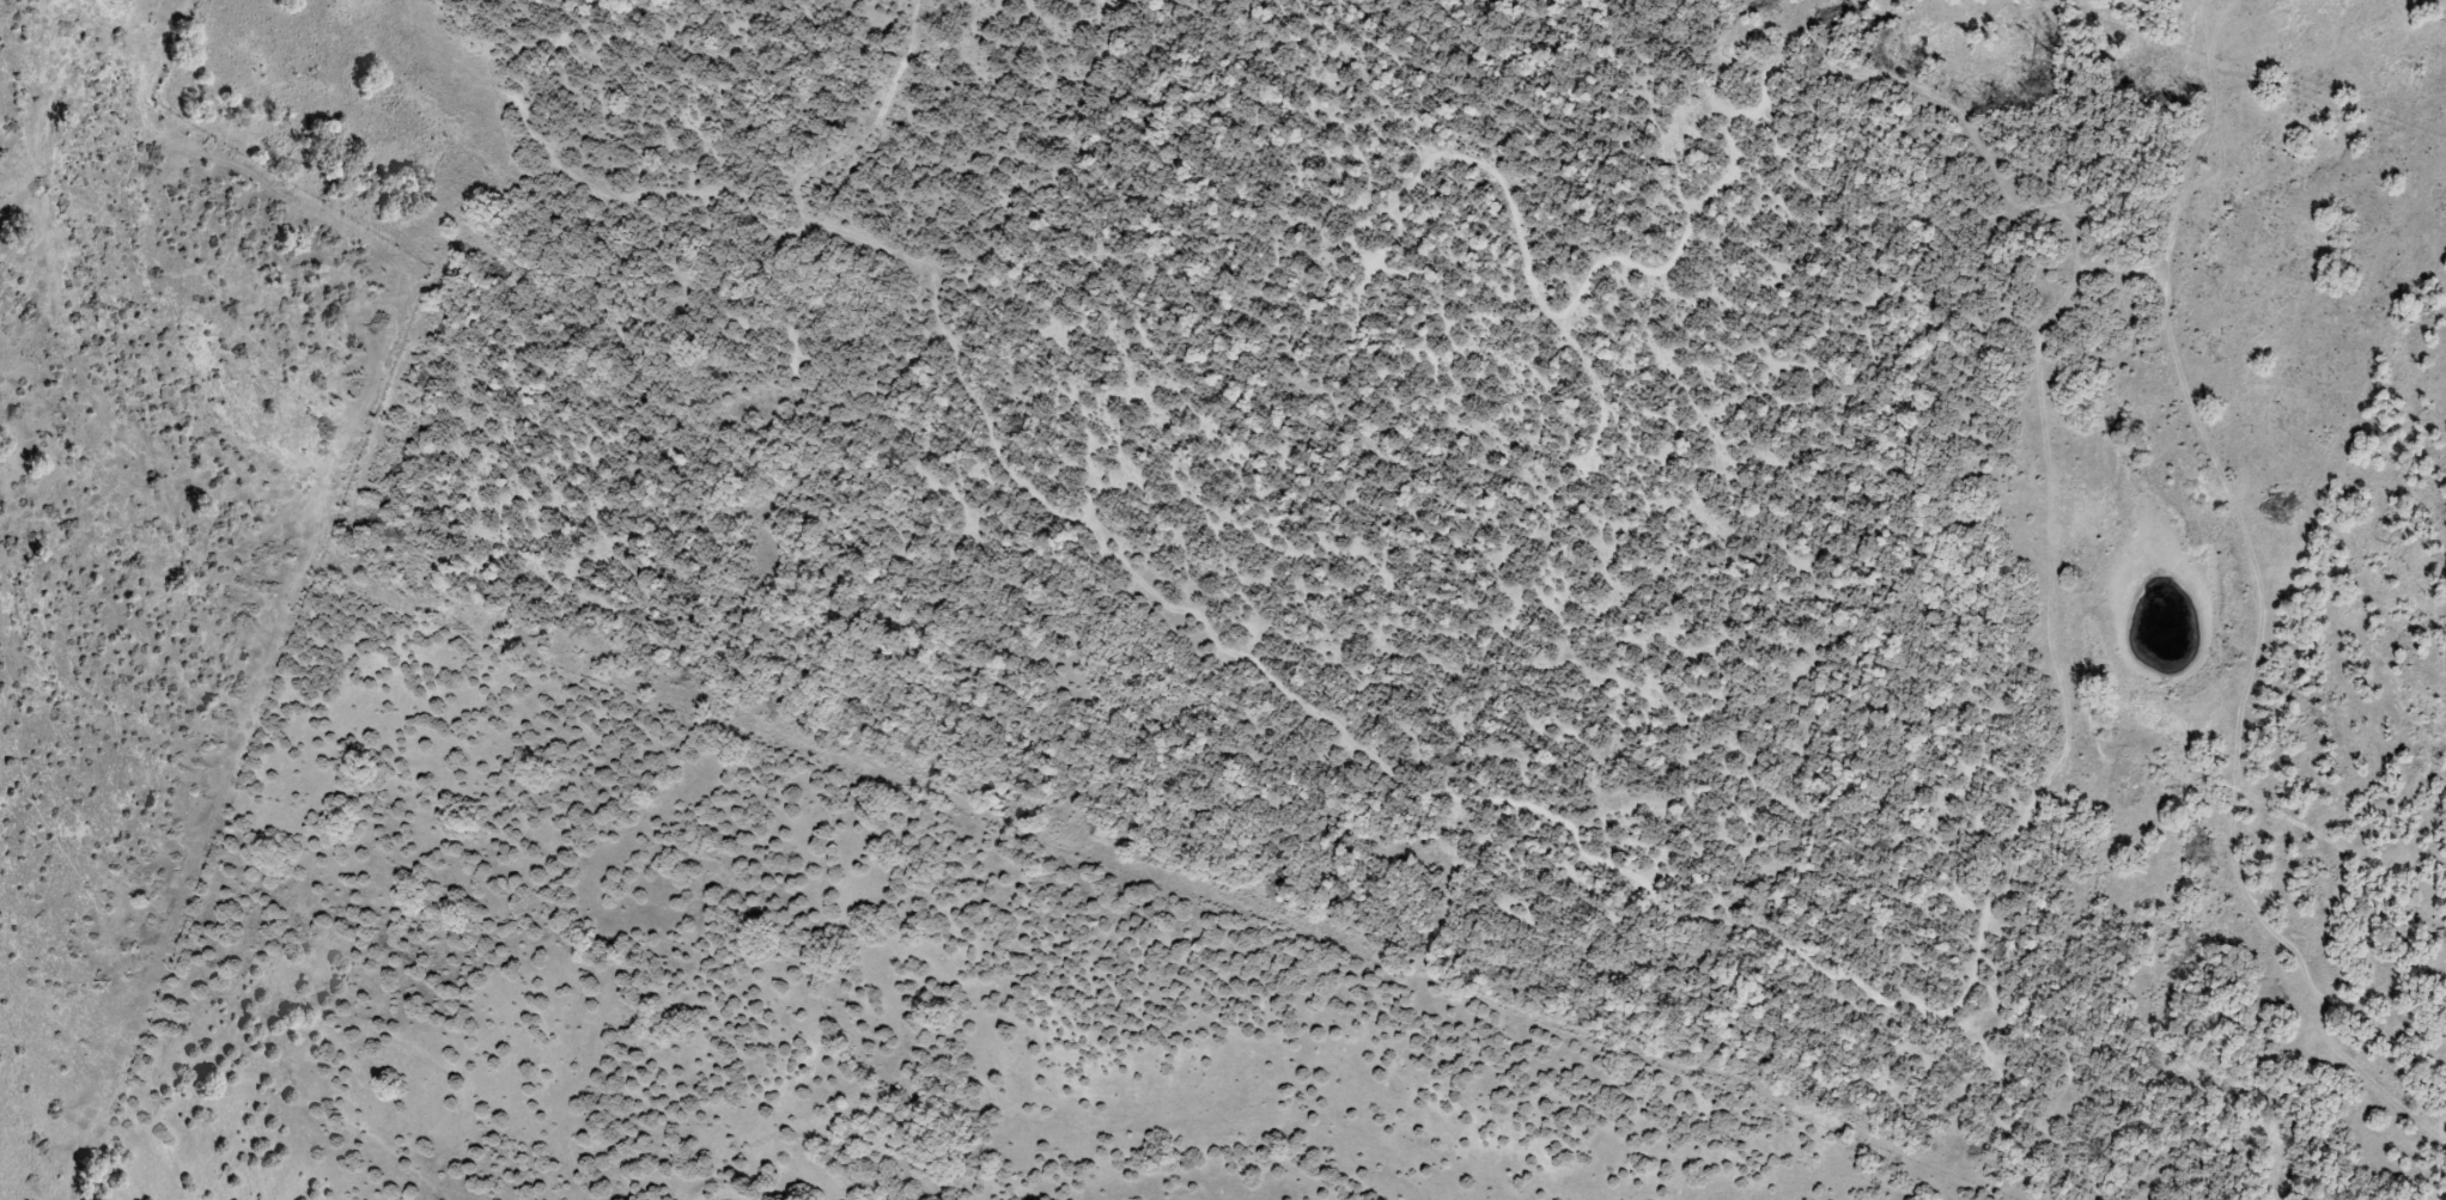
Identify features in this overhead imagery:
road: (2234, 619)
road: (2440, 1132)

